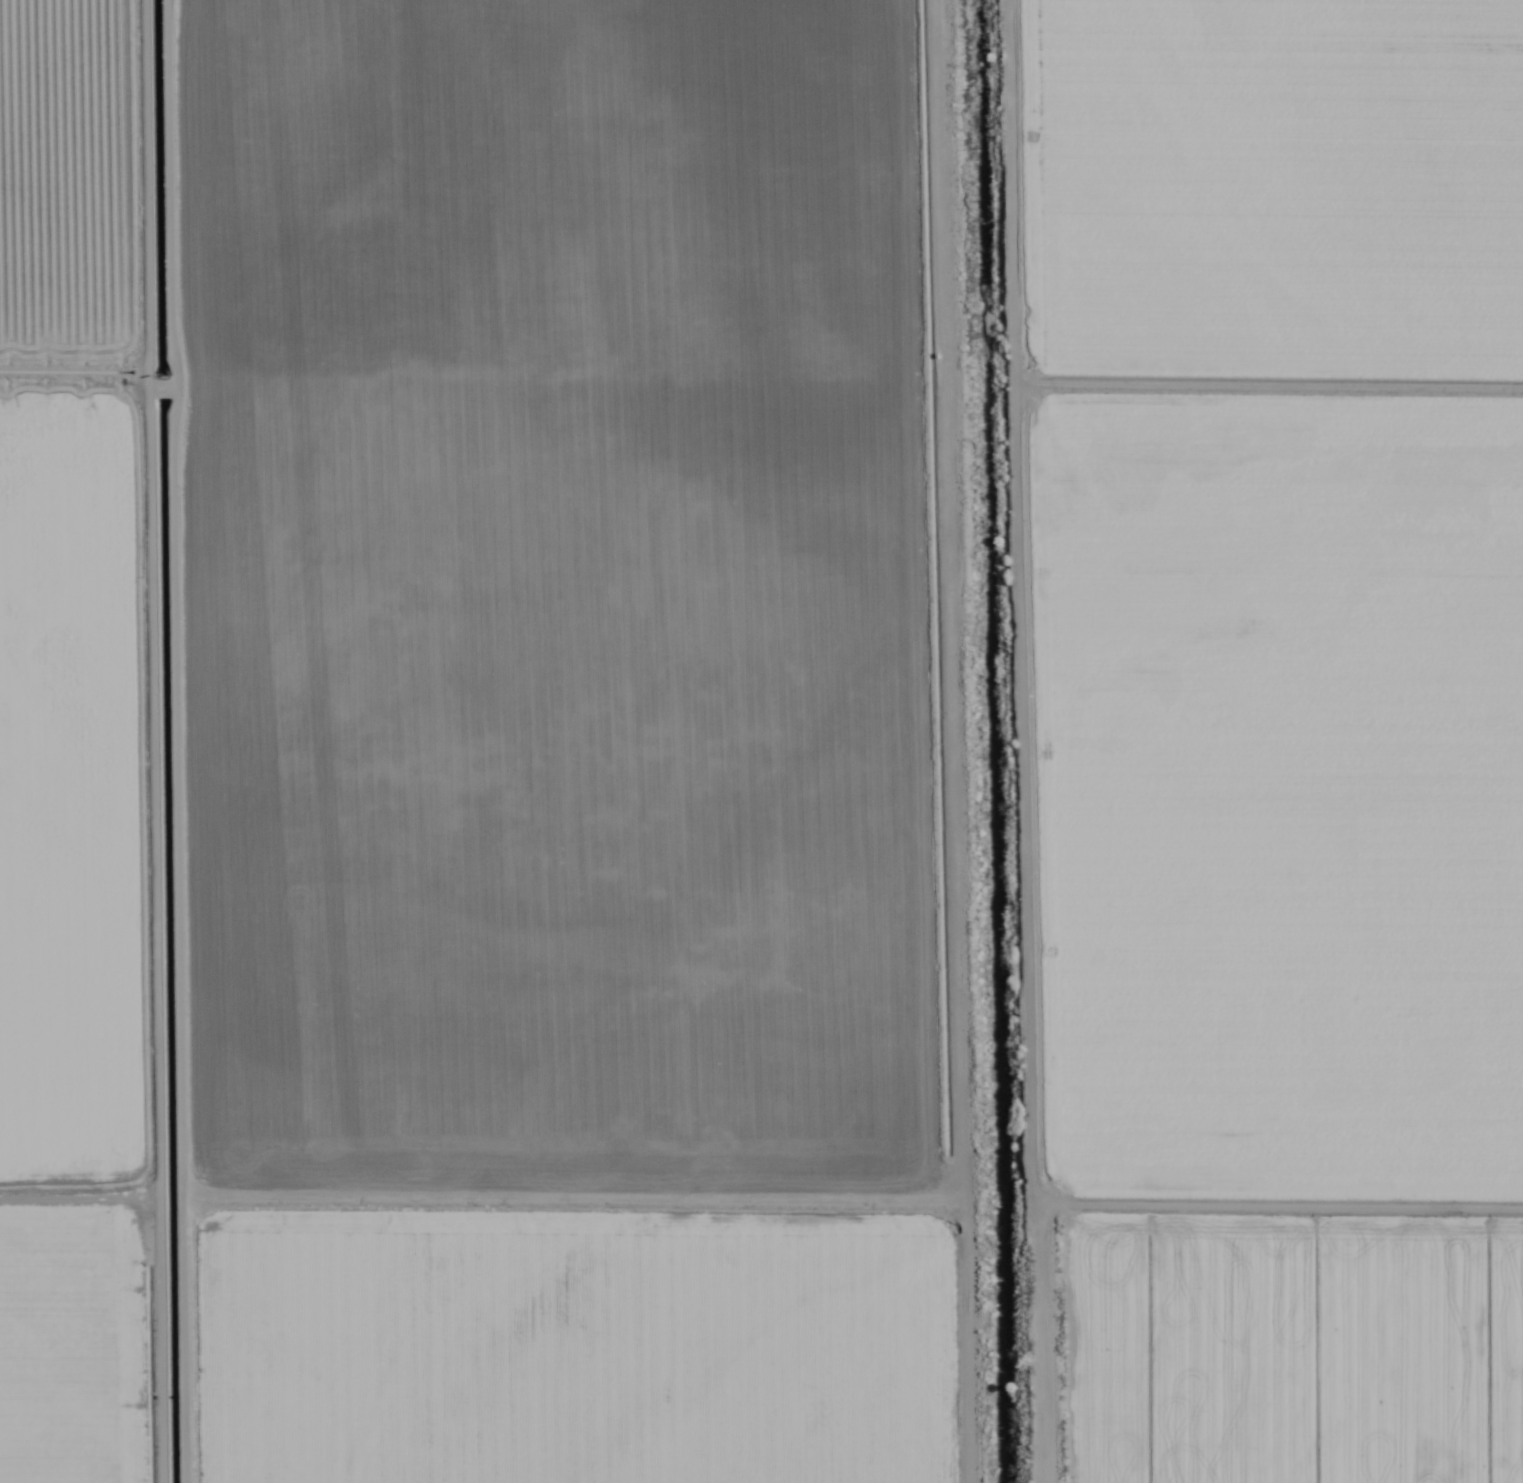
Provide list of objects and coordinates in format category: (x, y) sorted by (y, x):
crop: (761, 741)

